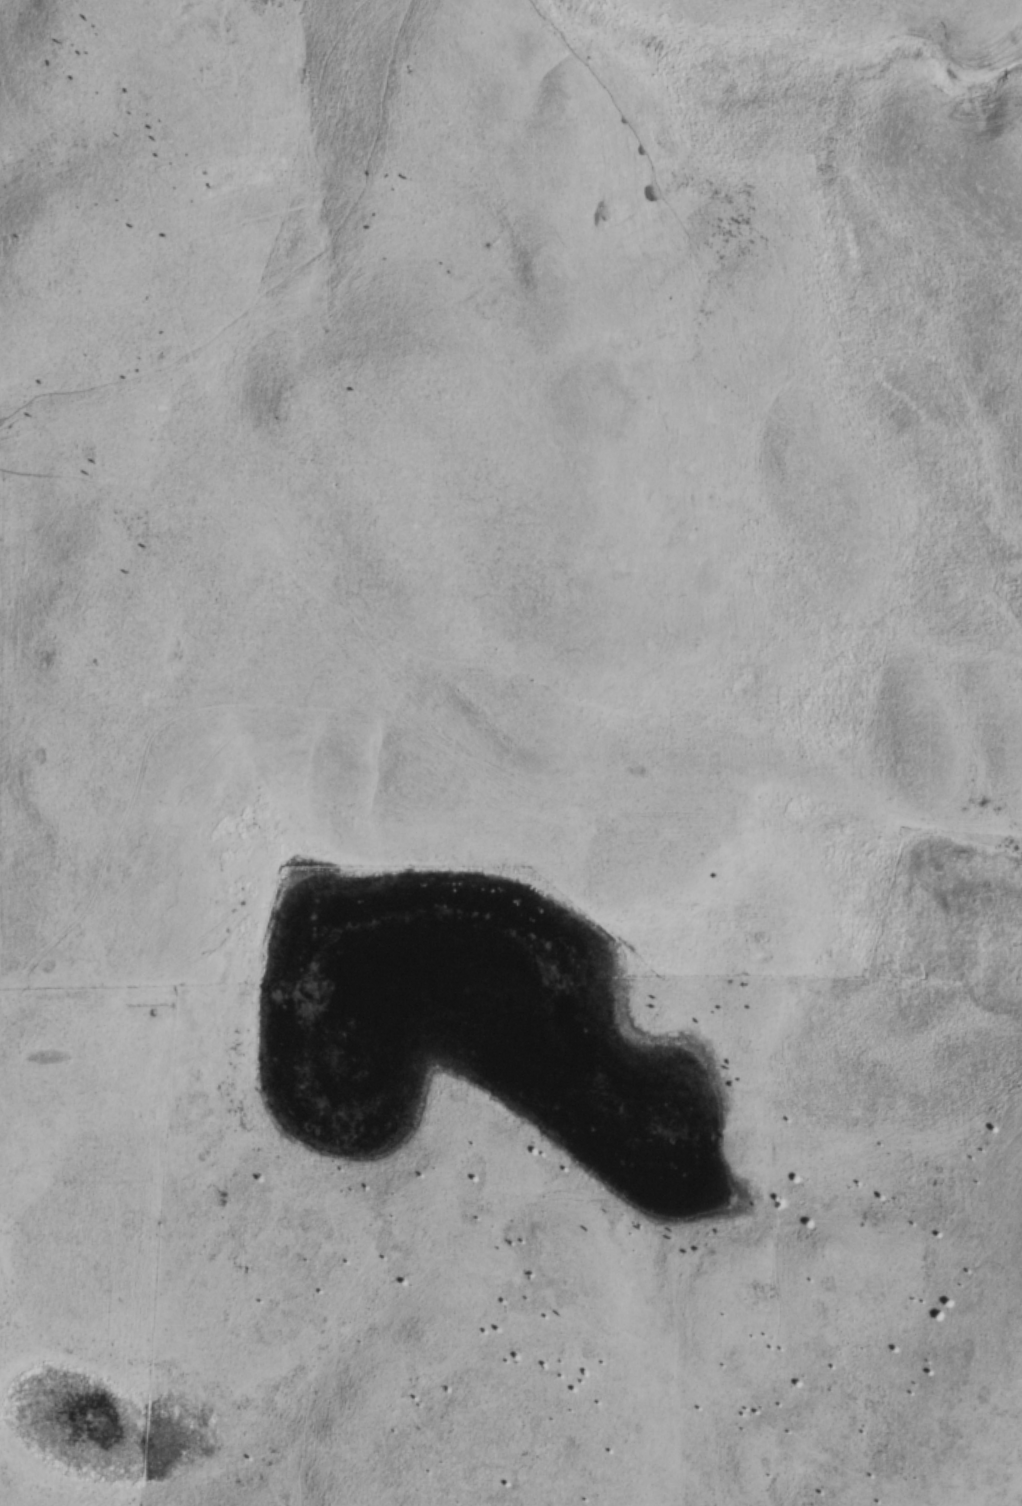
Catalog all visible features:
river: (499, 1035)

